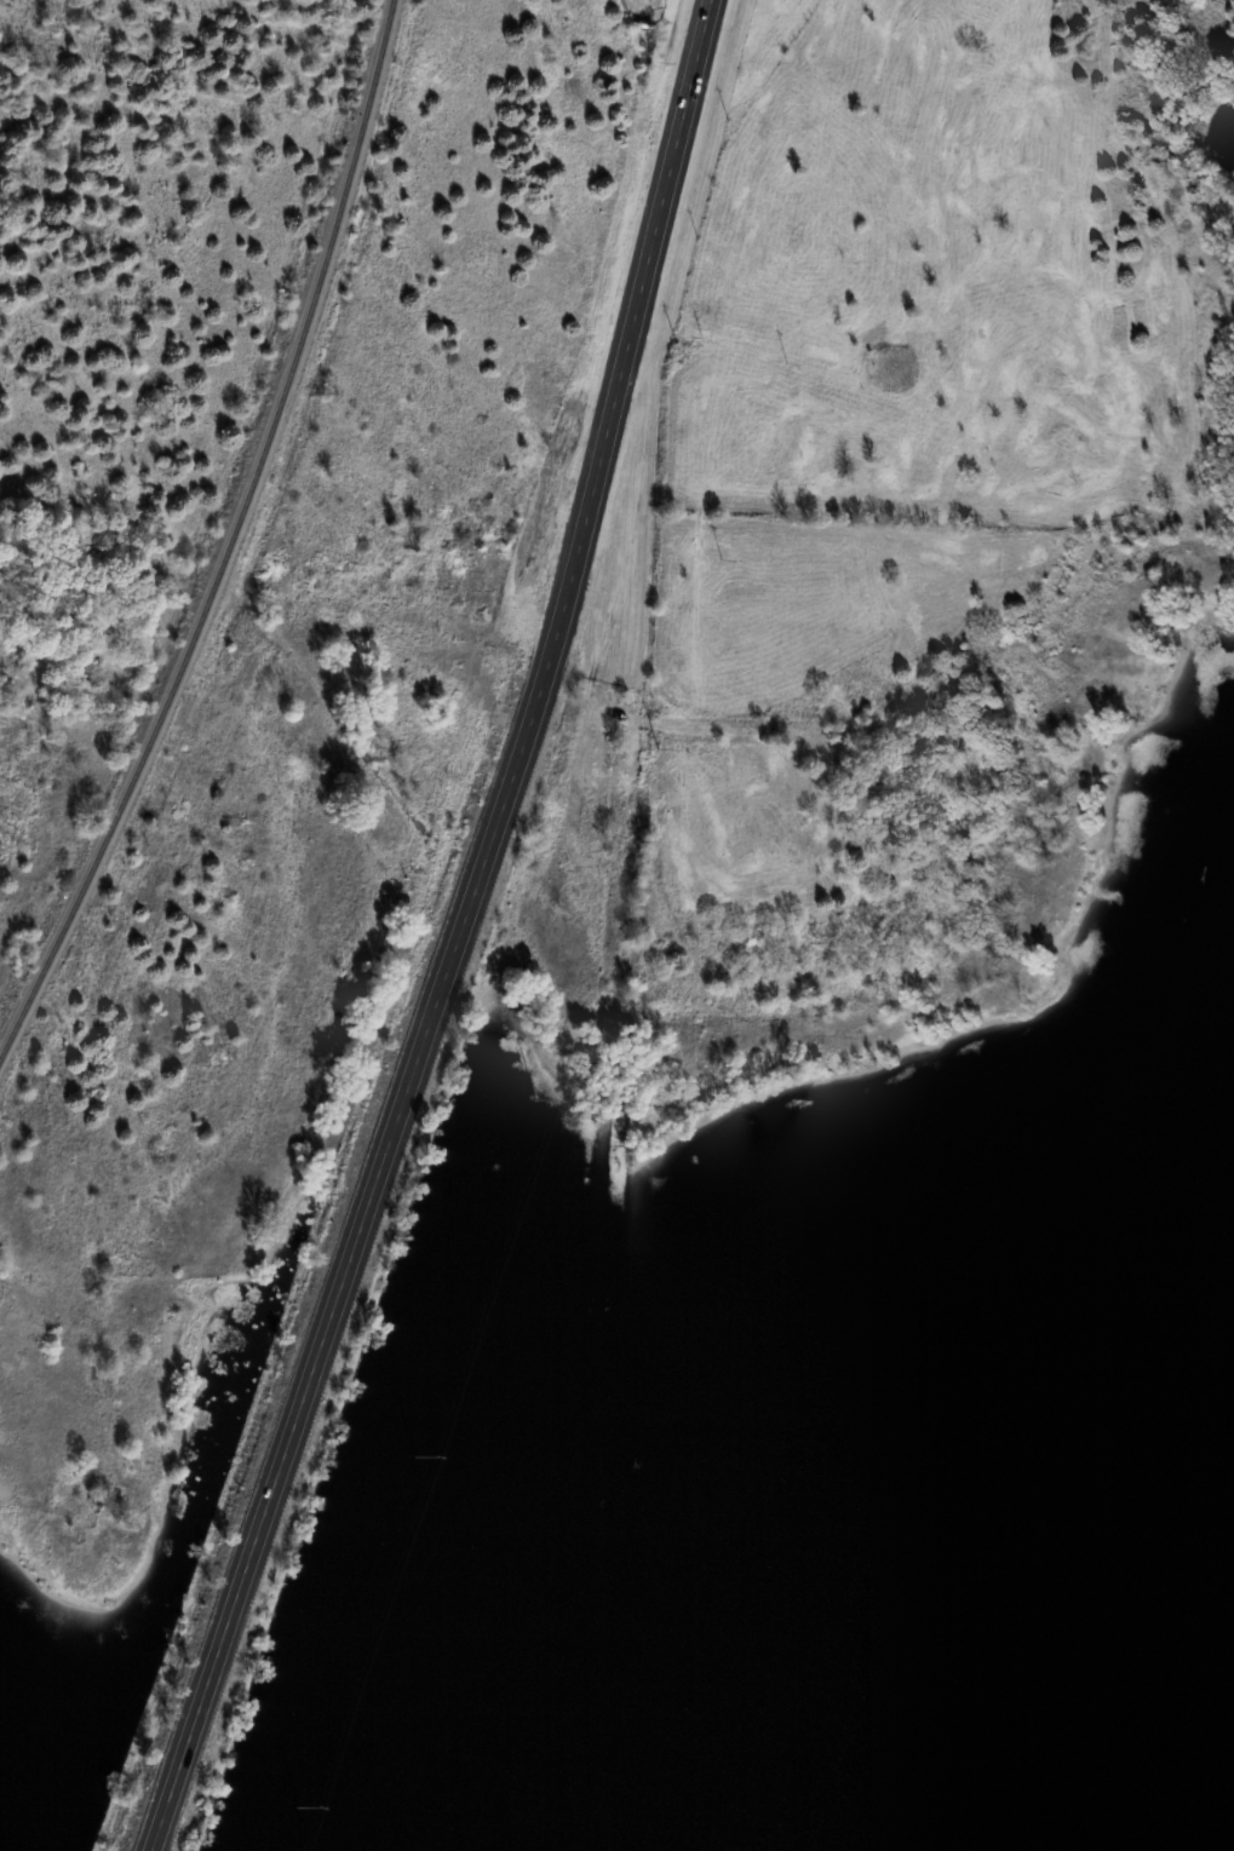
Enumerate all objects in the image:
building: (621, 0)
railway: (225, 533)
road: (459, 935)

